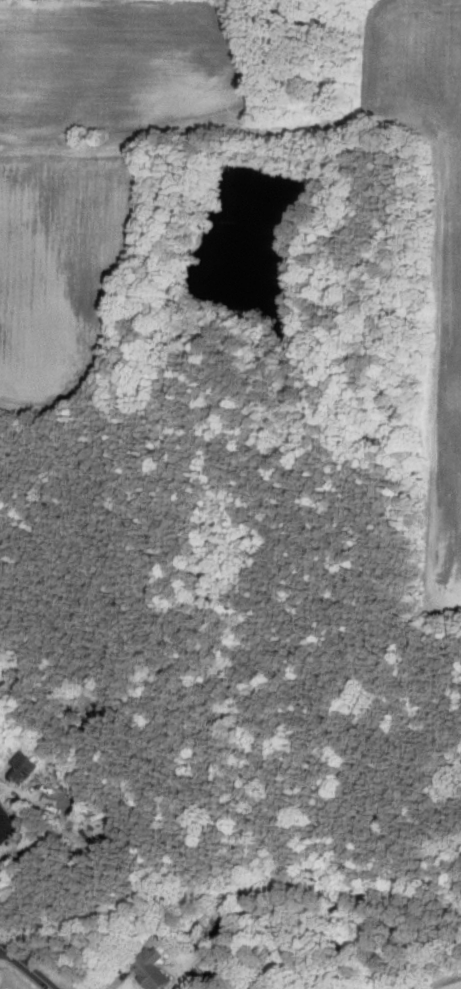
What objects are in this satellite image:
building: (20, 767)
road: (68, 817)
building: (2, 821)
road: (27, 966)
building: (150, 968)

